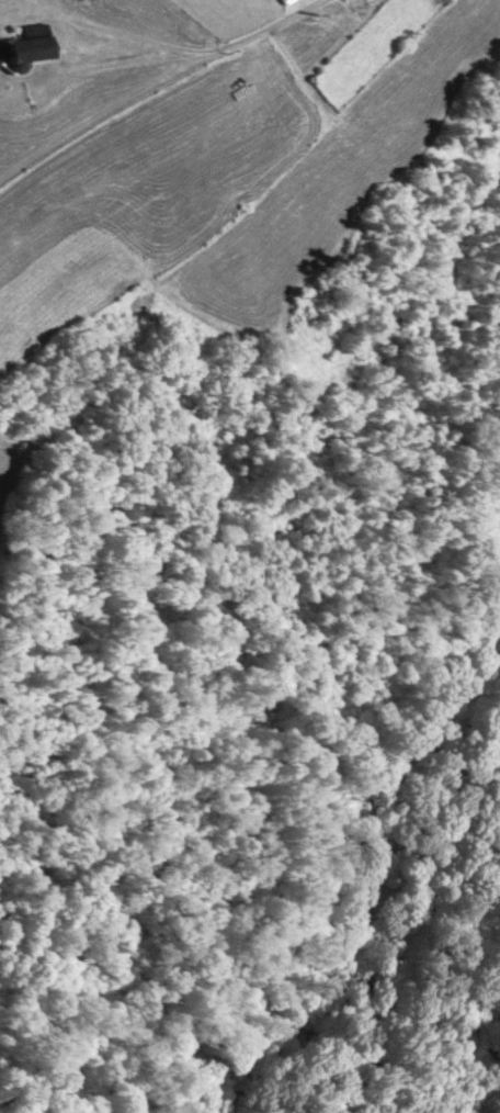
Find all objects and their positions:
road: (261, 35)
building: (27, 44)

